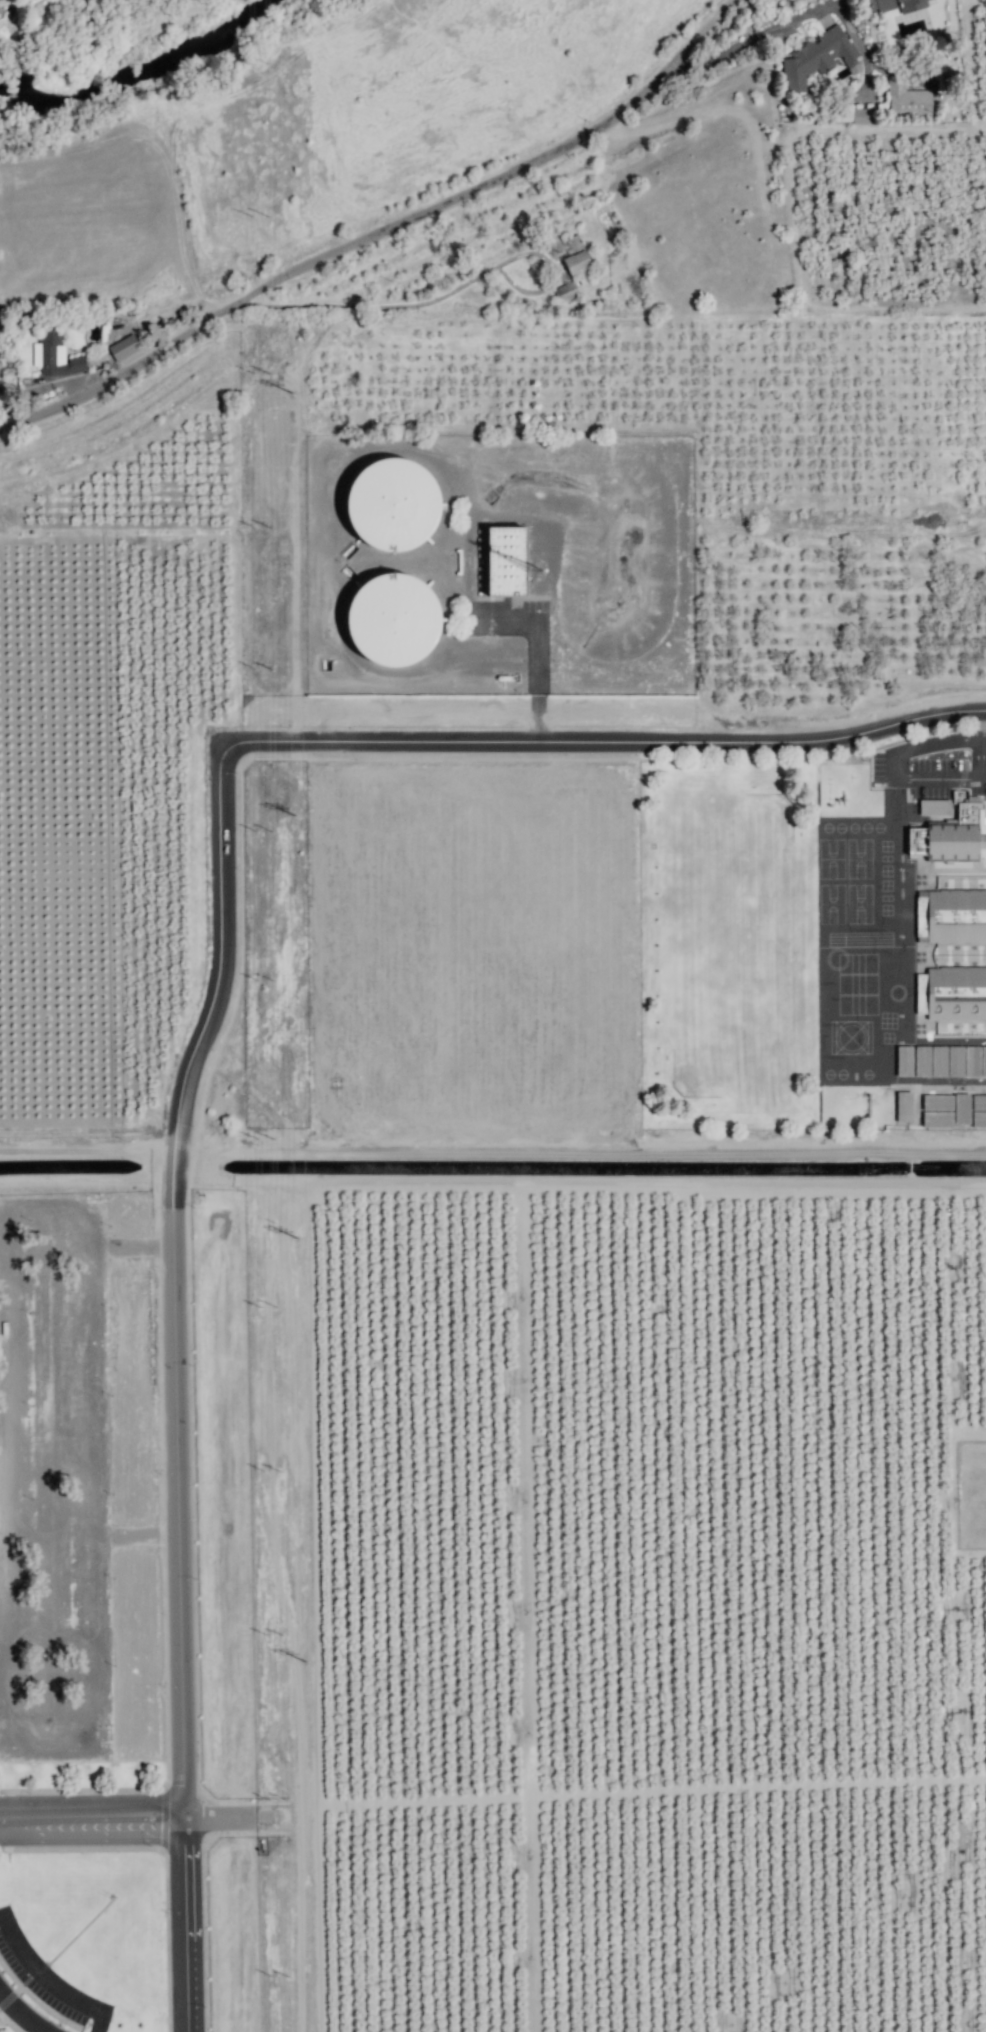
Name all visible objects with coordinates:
building: (905, 14)
building: (818, 57)
building: (907, 98)
building: (863, 115)
road: (380, 230)
building: (575, 255)
building: (566, 291)
building: (124, 347)
building: (55, 354)
power tower: (290, 394)
building: (392, 504)
building: (505, 560)
building: (393, 619)
road: (981, 720)
road: (984, 739)
road: (647, 741)
road: (899, 781)
building: (934, 807)
power tower: (297, 815)
building: (950, 836)
road: (225, 911)
building: (951, 916)
building: (950, 993)
building: (904, 1060)
building: (930, 1060)
building: (966, 1061)
building: (937, 1102)
building: (904, 1106)
building: (961, 1108)
building: (978, 1110)
building: (937, 1119)
road: (493, 1145)
power tower: (292, 1242)
road: (179, 1590)
power tower: (303, 1669)
road: (92, 1821)
road: (49, 1979)
road: (20, 2014)

